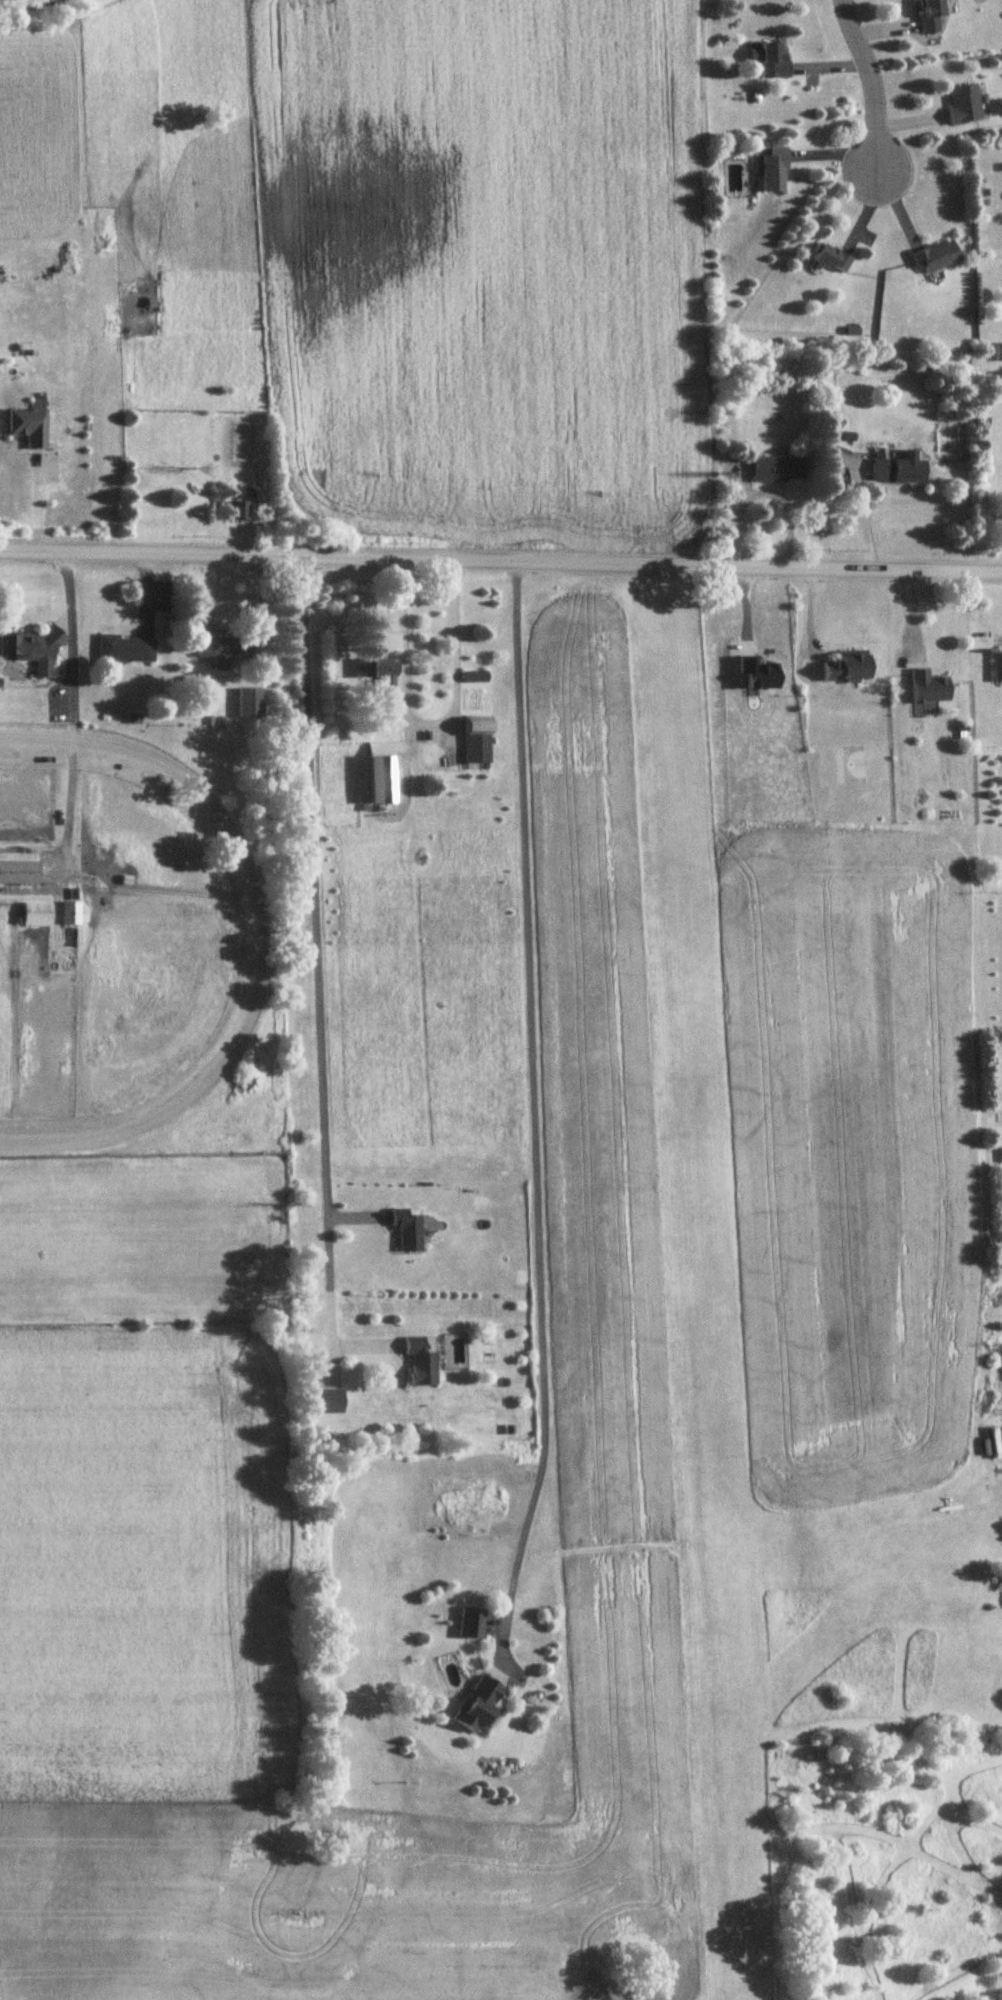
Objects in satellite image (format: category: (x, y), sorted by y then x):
building: (931, 14)
building: (773, 62)
road: (869, 85)
building: (965, 104)
building: (775, 172)
building: (937, 258)
building: (830, 259)
building: (997, 353)
building: (31, 424)
building: (778, 470)
building: (900, 470)
road: (764, 490)
building: (245, 495)
building: (238, 512)
road: (500, 561)
building: (126, 650)
building: (224, 651)
building: (33, 652)
building: (849, 667)
building: (996, 667)
building: (380, 670)
building: (475, 677)
building: (929, 688)
road: (74, 705)
building: (250, 705)
road: (428, 724)
building: (478, 741)
road: (405, 750)
building: (384, 775)
building: (20, 874)
building: (37, 915)
building: (71, 915)
road: (266, 936)
road: (317, 956)
road: (534, 1107)
building: (408, 1231)
building: (421, 1363)
building: (472, 1624)
building: (480, 1705)

